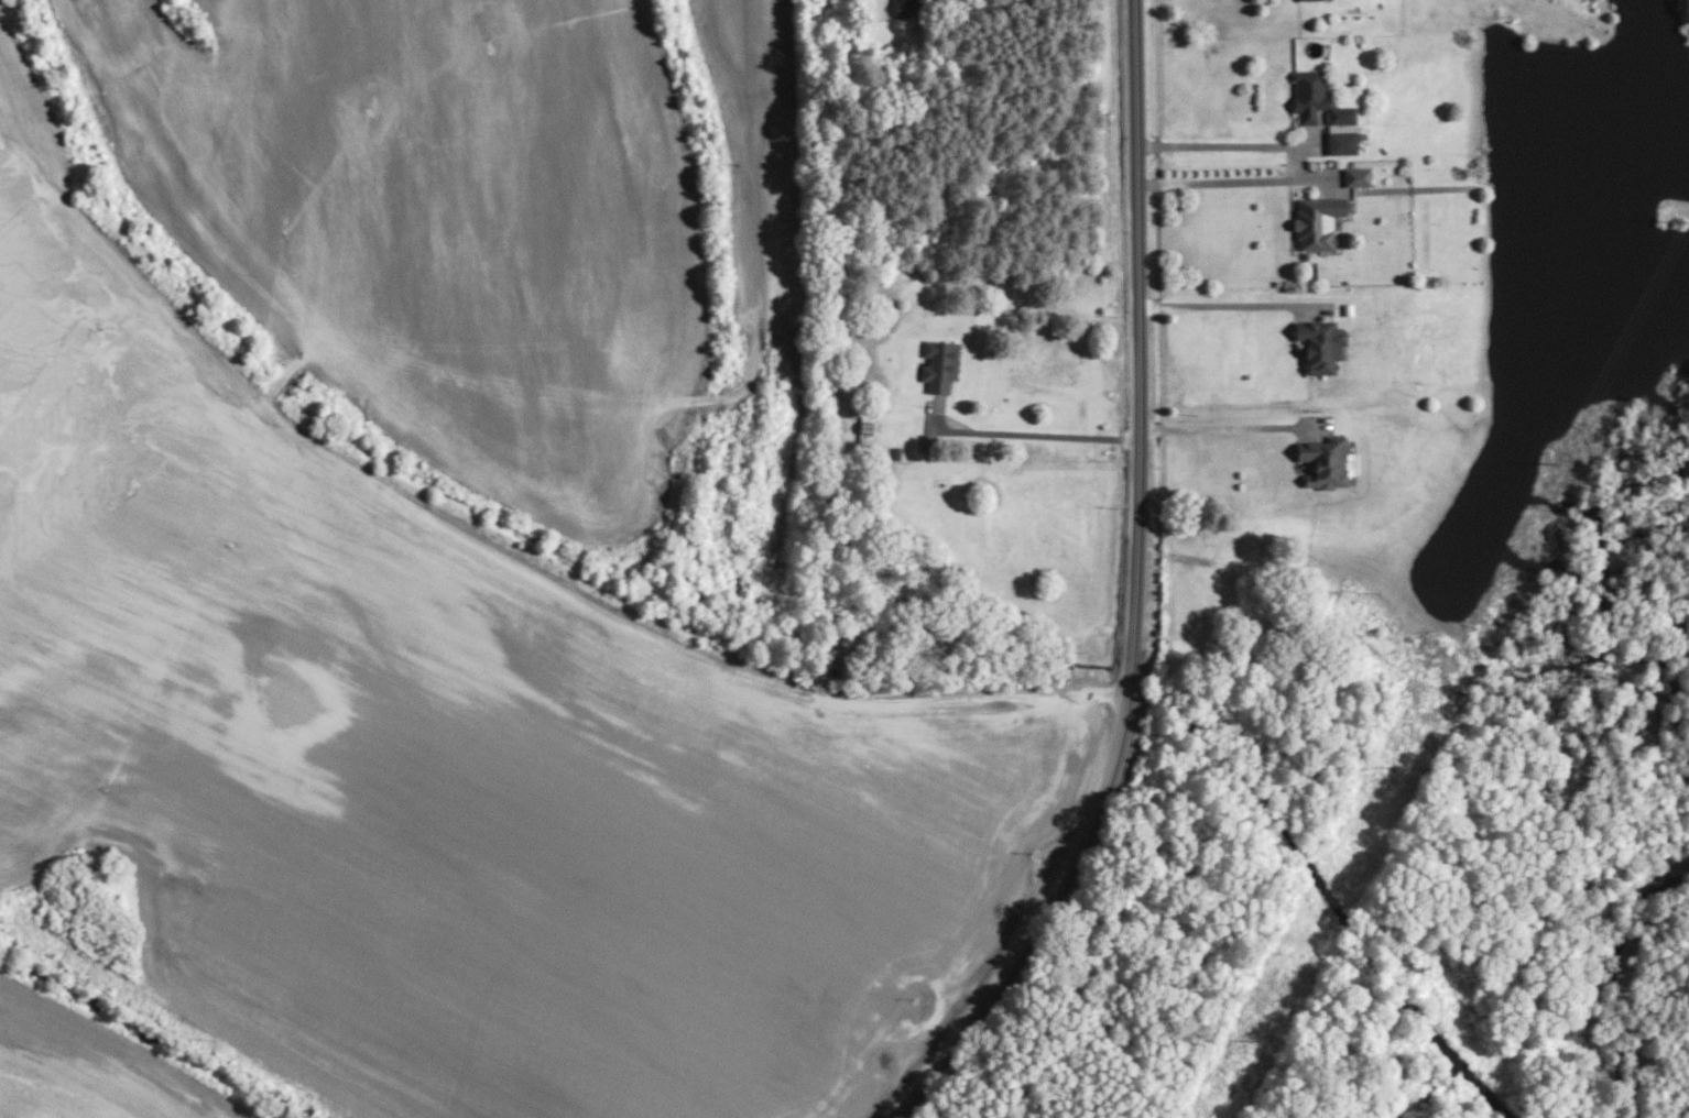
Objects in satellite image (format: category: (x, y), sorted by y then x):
road: (969, 6)
building: (905, 8)
building: (1318, 100)
road: (1298, 138)
building: (1340, 143)
road: (1289, 153)
road: (1297, 169)
building: (1358, 177)
power tower: (1678, 212)
building: (1319, 221)
road: (1224, 296)
building: (1320, 344)
building: (940, 365)
road: (1216, 418)
road: (1049, 427)
building: (867, 429)
power tower: (1552, 453)
building: (1323, 462)
road: (1135, 592)
power tower: (1390, 760)

